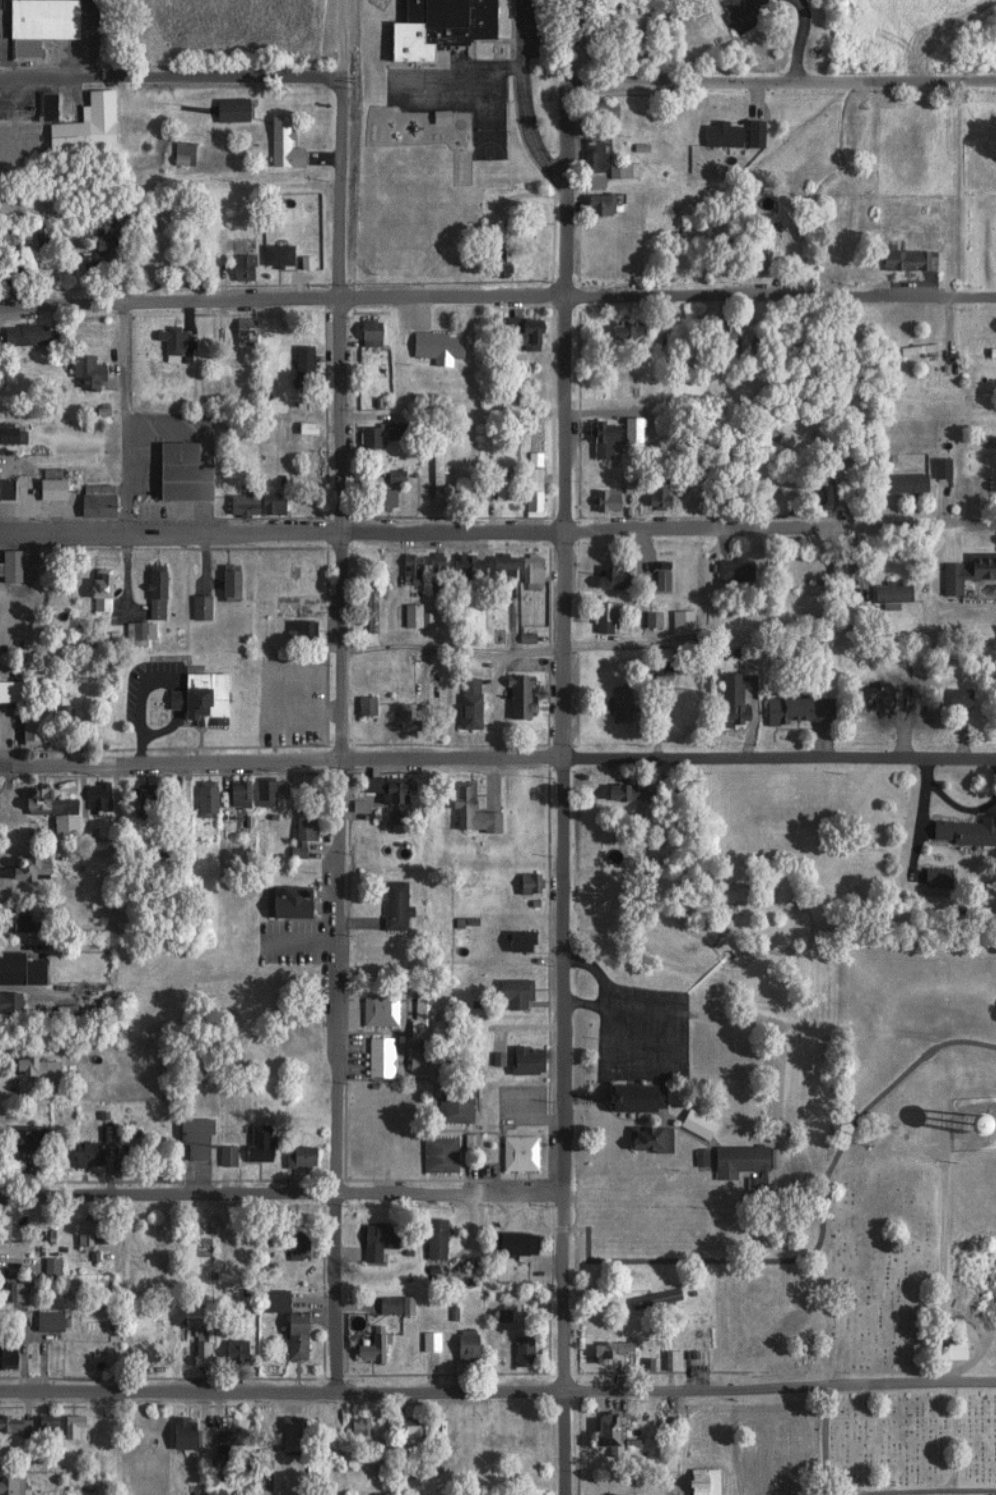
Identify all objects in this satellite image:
road: (740, 8)
building: (443, 21)
building: (33, 24)
road: (794, 39)
road: (183, 73)
road: (747, 82)
building: (42, 107)
building: (226, 110)
building: (595, 112)
building: (81, 126)
building: (715, 134)
building: (748, 134)
building: (278, 144)
building: (177, 153)
building: (587, 157)
building: (612, 172)
building: (593, 205)
building: (271, 255)
building: (750, 256)
building: (901, 259)
building: (493, 261)
building: (88, 263)
building: (236, 267)
road: (497, 297)
building: (240, 331)
building: (618, 331)
building: (362, 333)
building: (516, 333)
building: (21, 335)
building: (720, 336)
building: (165, 342)
building: (430, 346)
building: (911, 350)
building: (989, 354)
building: (297, 361)
building: (79, 371)
road: (560, 375)
road: (343, 378)
road: (128, 421)
building: (300, 428)
building: (600, 432)
building: (5, 434)
building: (374, 434)
building: (936, 469)
building: (175, 473)
building: (430, 475)
building: (389, 477)
building: (493, 483)
building: (901, 484)
building: (44, 485)
building: (527, 492)
building: (816, 492)
building: (655, 493)
building: (12, 496)
building: (376, 498)
building: (89, 500)
building: (601, 500)
building: (250, 504)
road: (469, 535)
building: (495, 565)
building: (6, 566)
building: (462, 567)
building: (404, 570)
building: (730, 570)
building: (965, 571)
building: (430, 572)
building: (525, 573)
building: (604, 577)
building: (656, 581)
building: (223, 583)
building: (92, 585)
building: (150, 592)
building: (886, 595)
building: (94, 607)
building: (196, 608)
building: (364, 609)
building: (410, 617)
building: (600, 617)
building: (677, 623)
building: (294, 631)
building: (133, 633)
building: (656, 662)
building: (9, 691)
building: (512, 697)
building: (878, 698)
building: (953, 698)
building: (194, 699)
building: (728, 699)
building: (463, 703)
building: (615, 703)
building: (360, 706)
building: (794, 710)
building: (400, 719)
building: (24, 729)
road: (498, 759)
building: (384, 789)
building: (262, 791)
building: (618, 792)
building: (231, 793)
building: (136, 794)
building: (91, 795)
building: (199, 798)
building: (352, 806)
building: (464, 810)
building: (46, 812)
building: (297, 830)
building: (959, 832)
building: (13, 867)
building: (930, 878)
building: (524, 884)
building: (282, 902)
building: (389, 906)
road: (42, 915)
building: (10, 919)
building: (513, 942)
building: (16, 970)
building: (508, 993)
building: (7, 1003)
building: (374, 1008)
building: (419, 1019)
building: (375, 1058)
building: (519, 1061)
building: (423, 1063)
building: (28, 1069)
road: (340, 1080)
building: (622, 1098)
building: (449, 1106)
road: (560, 1128)
building: (189, 1136)
building: (18, 1139)
building: (642, 1140)
building: (465, 1143)
building: (253, 1145)
building: (81, 1154)
building: (513, 1154)
building: (221, 1156)
building: (367, 1156)
building: (434, 1156)
building: (293, 1157)
building: (734, 1161)
road: (280, 1190)
building: (428, 1232)
building: (6, 1233)
road: (820, 1237)
building: (81, 1238)
building: (372, 1240)
building: (506, 1244)
building: (291, 1246)
road: (948, 1267)
building: (45, 1268)
building: (9, 1293)
building: (649, 1299)
building: (267, 1301)
building: (389, 1306)
building: (43, 1321)
building: (288, 1336)
building: (424, 1342)
building: (196, 1346)
building: (459, 1346)
building: (5, 1349)
building: (229, 1349)
building: (364, 1351)
building: (517, 1351)
building: (948, 1351)
building: (604, 1352)
road: (498, 1398)
building: (12, 1425)
building: (39, 1425)
building: (65, 1427)
building: (352, 1427)
building: (137, 1432)
building: (405, 1432)
building: (175, 1433)
building: (285, 1434)
building: (602, 1435)
building: (498, 1444)
road: (827, 1444)
building: (262, 1465)
building: (697, 1481)
road: (817, 1485)
building: (10, 1486)

